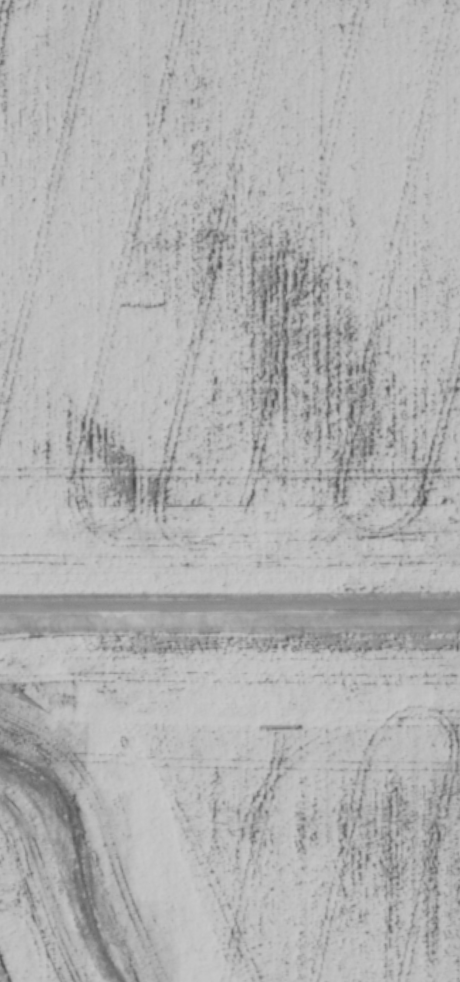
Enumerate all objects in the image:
road: (230, 610)

